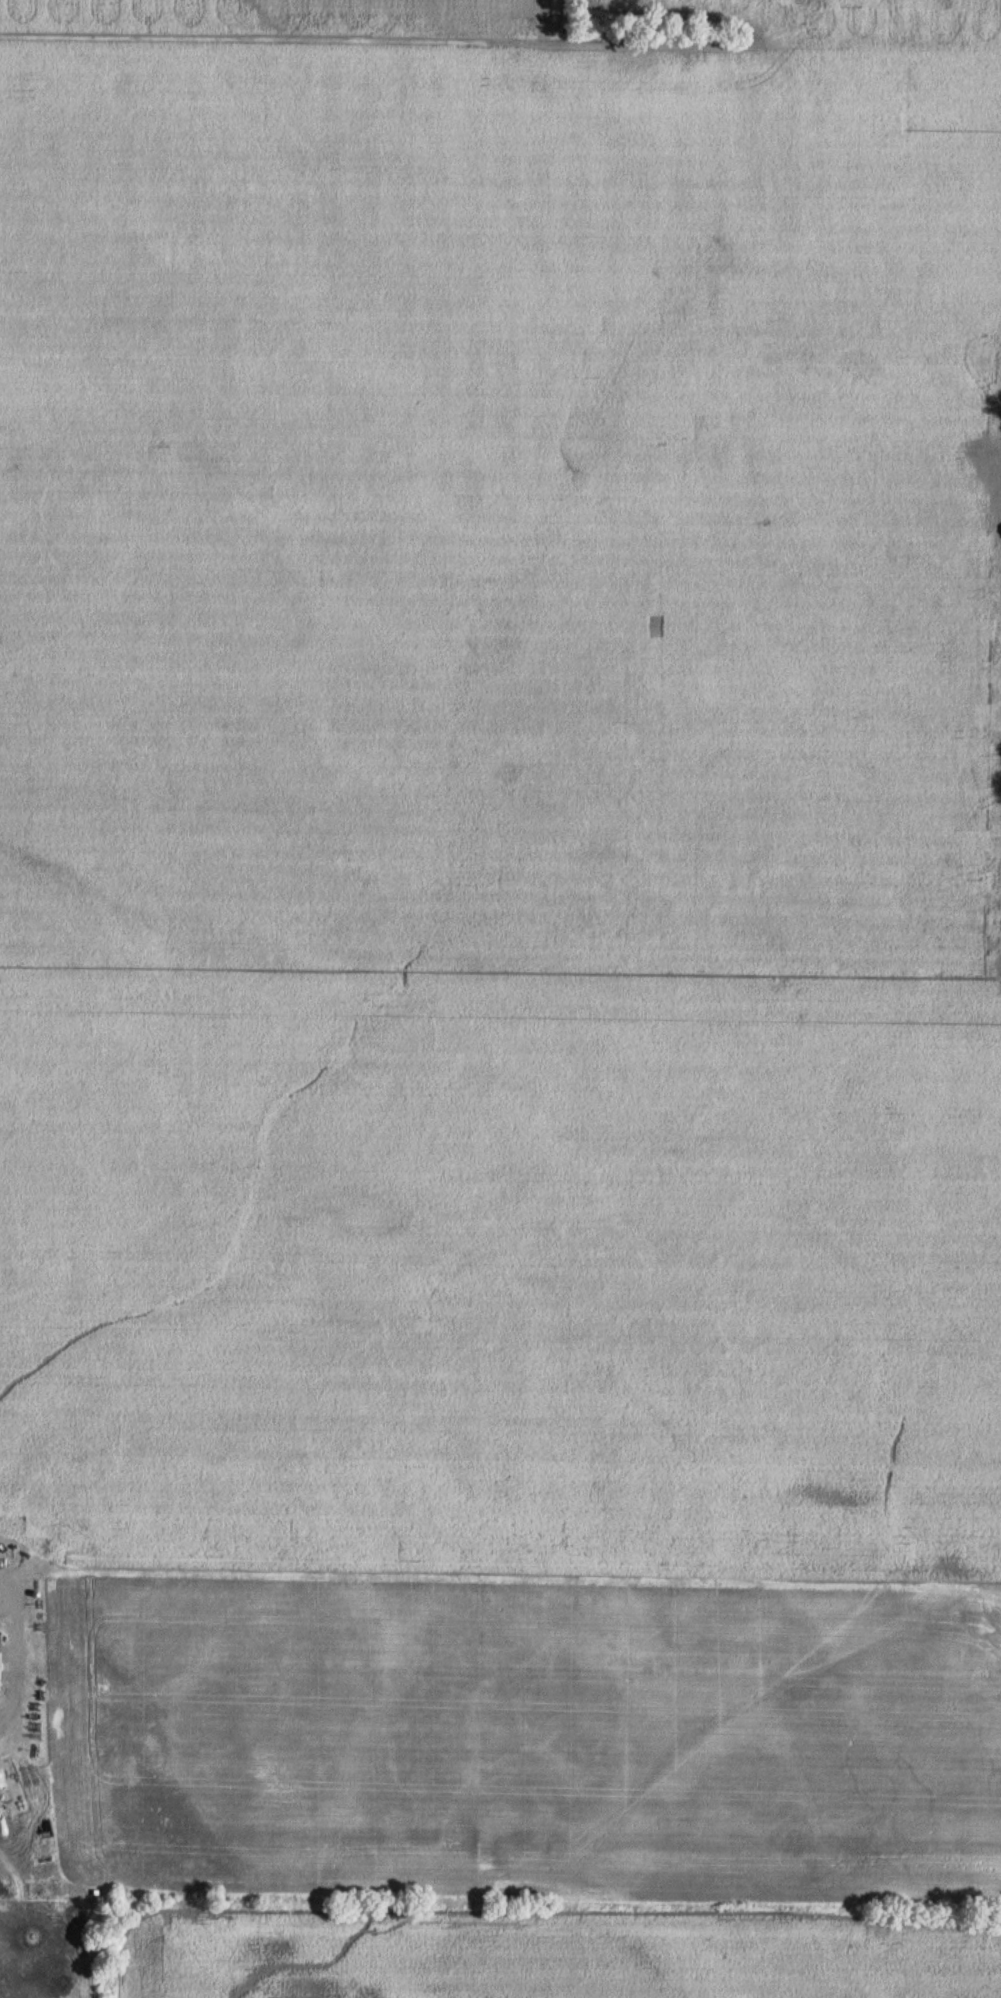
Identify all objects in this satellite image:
road: (10, 1640)
building: (1, 1656)

